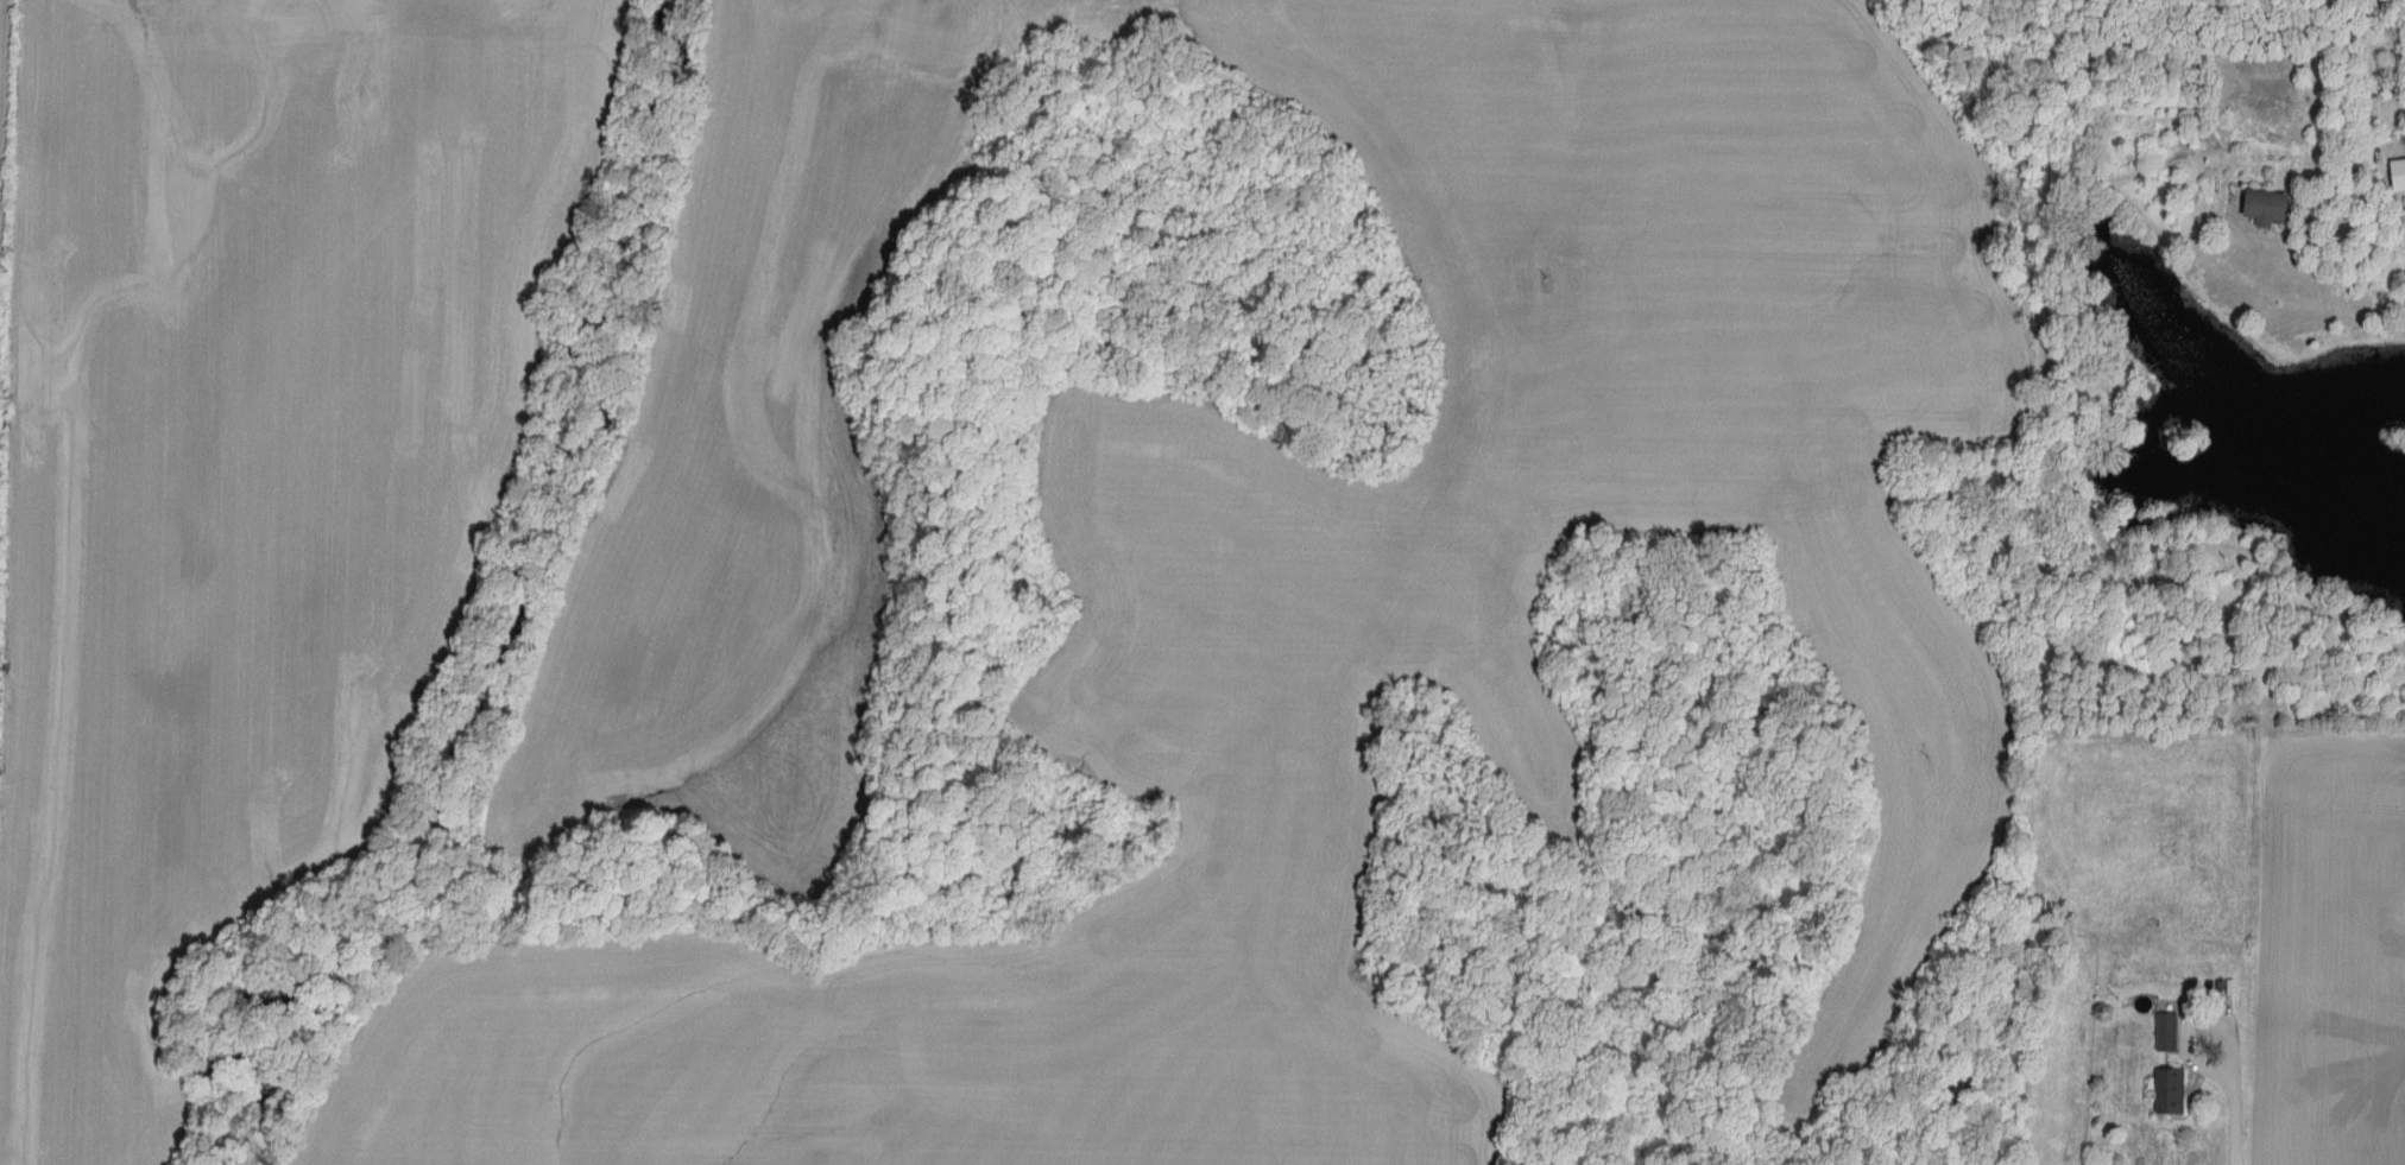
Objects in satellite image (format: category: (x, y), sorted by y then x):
road: (2343, 116)
building: (2267, 207)
building: (2171, 1031)
building: (2173, 1089)
road: (2286, 1095)

